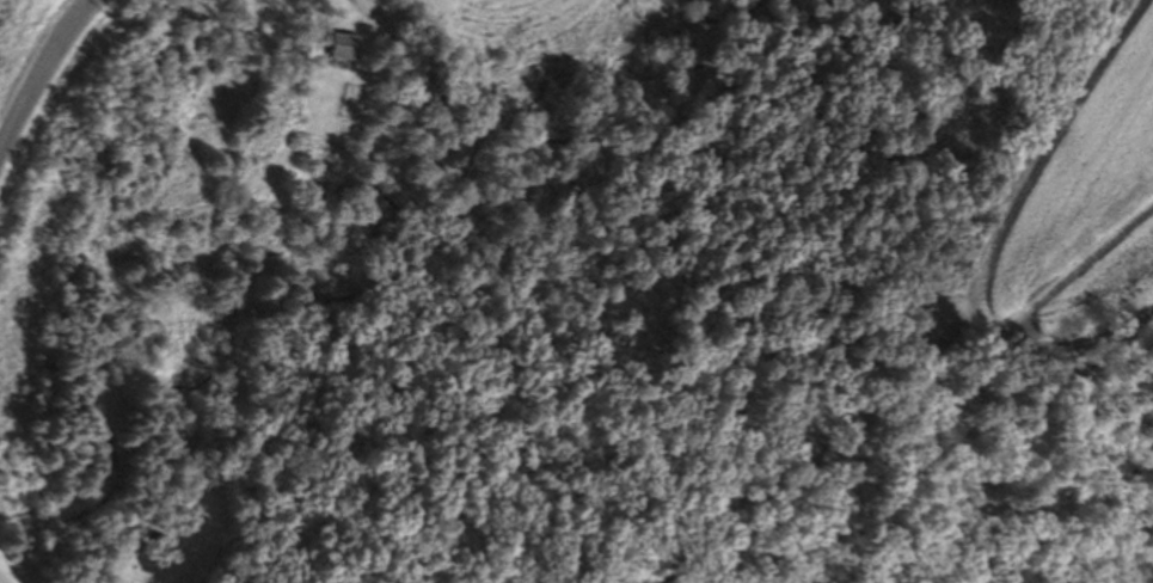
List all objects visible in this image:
building: (352, 43)
road: (42, 74)
road: (6, 573)

